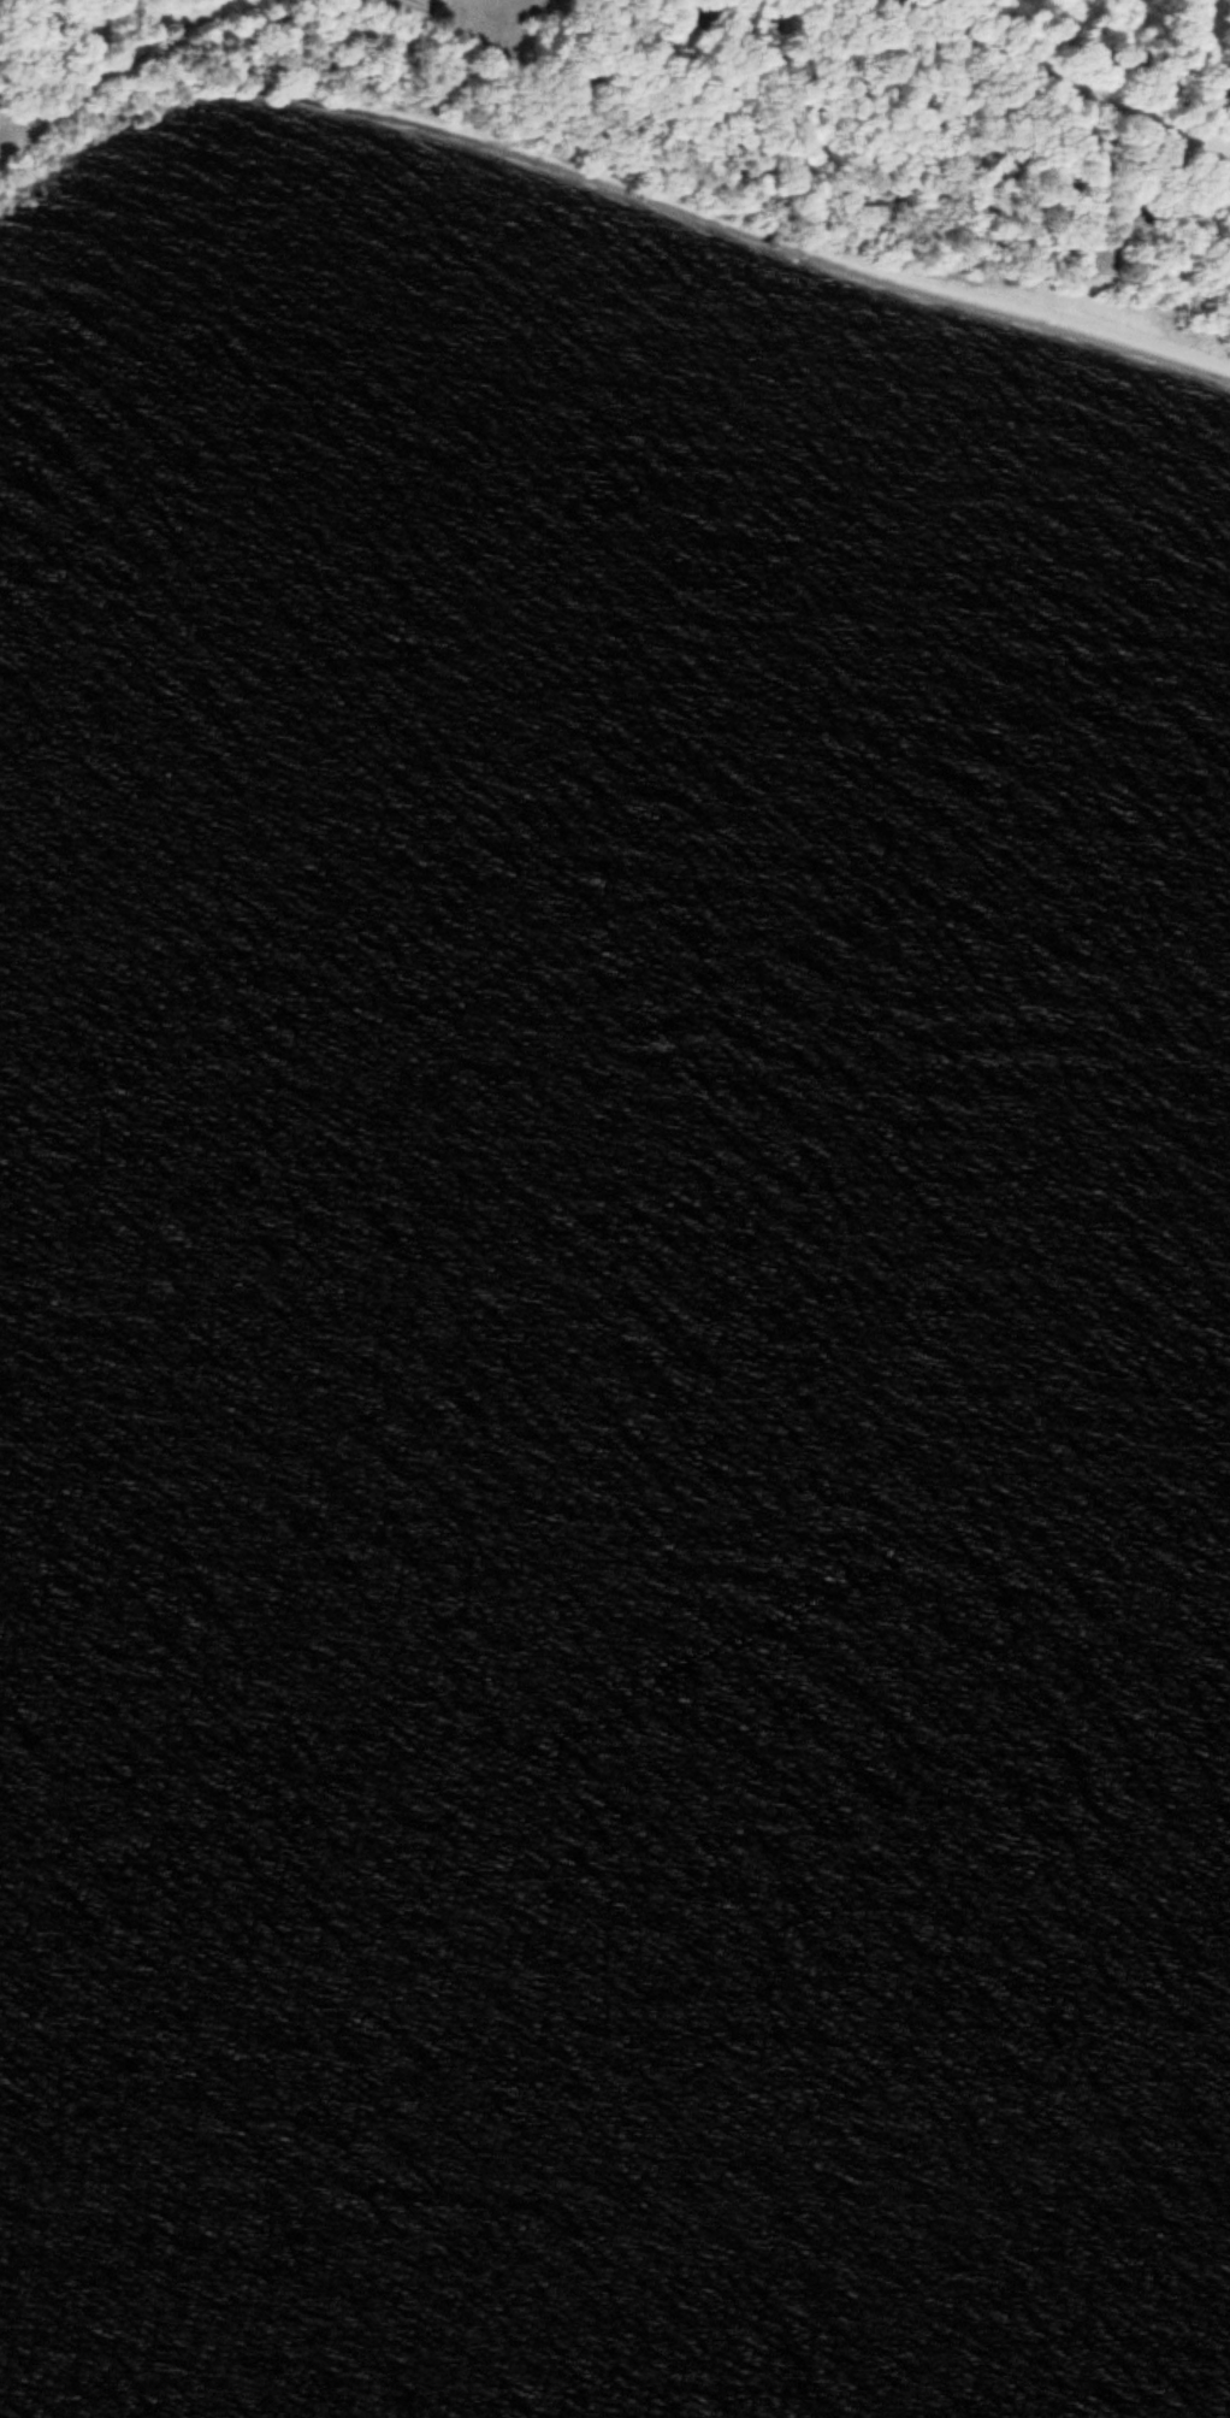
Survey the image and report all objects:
road: (118, 14)
building: (705, 14)
building: (721, 41)
road: (1046, 83)

